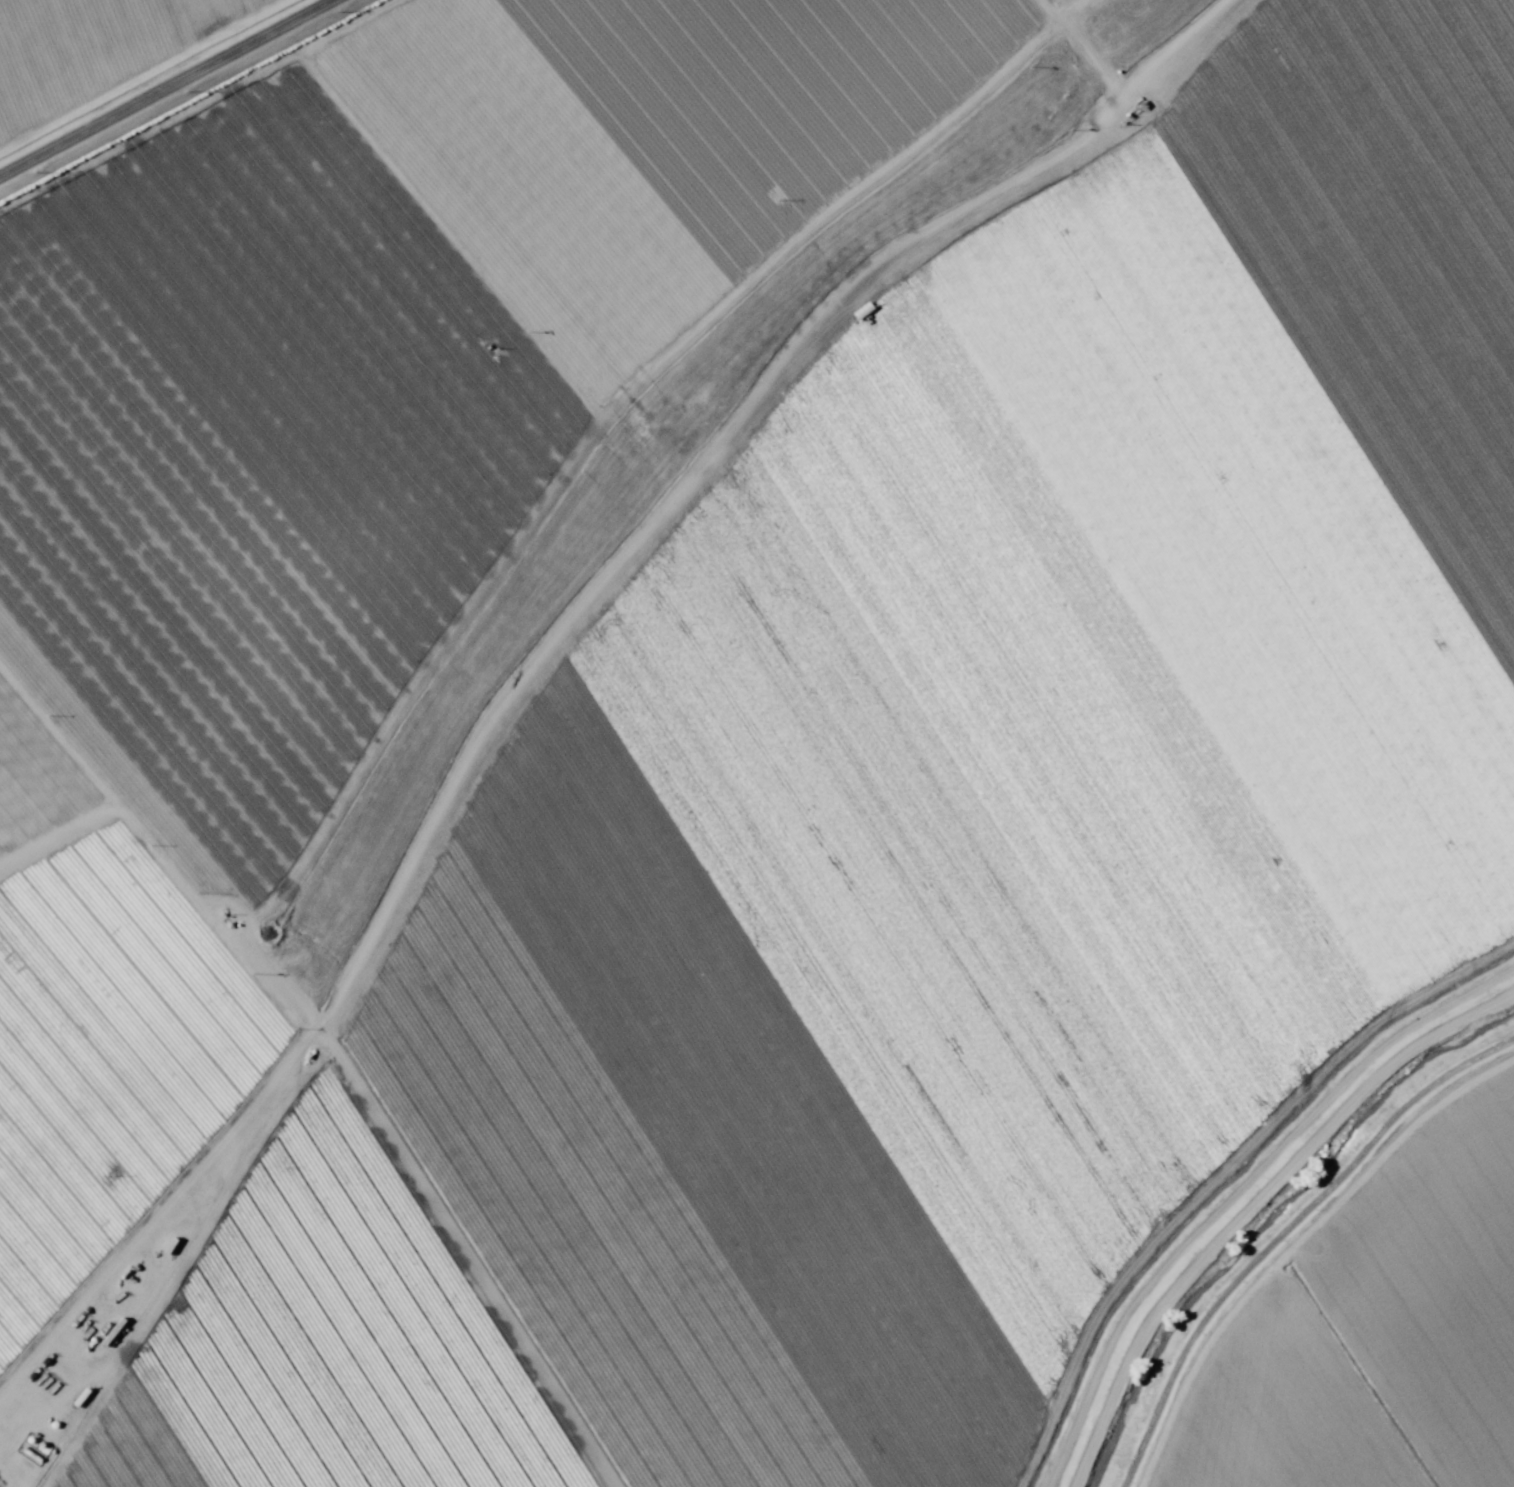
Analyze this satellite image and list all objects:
road: (170, 90)
road: (612, 656)
crop: (757, 743)
road: (1290, 1242)
building: (156, 1260)
road: (577, 1262)
building: (34, 1448)
road: (22, 1451)

